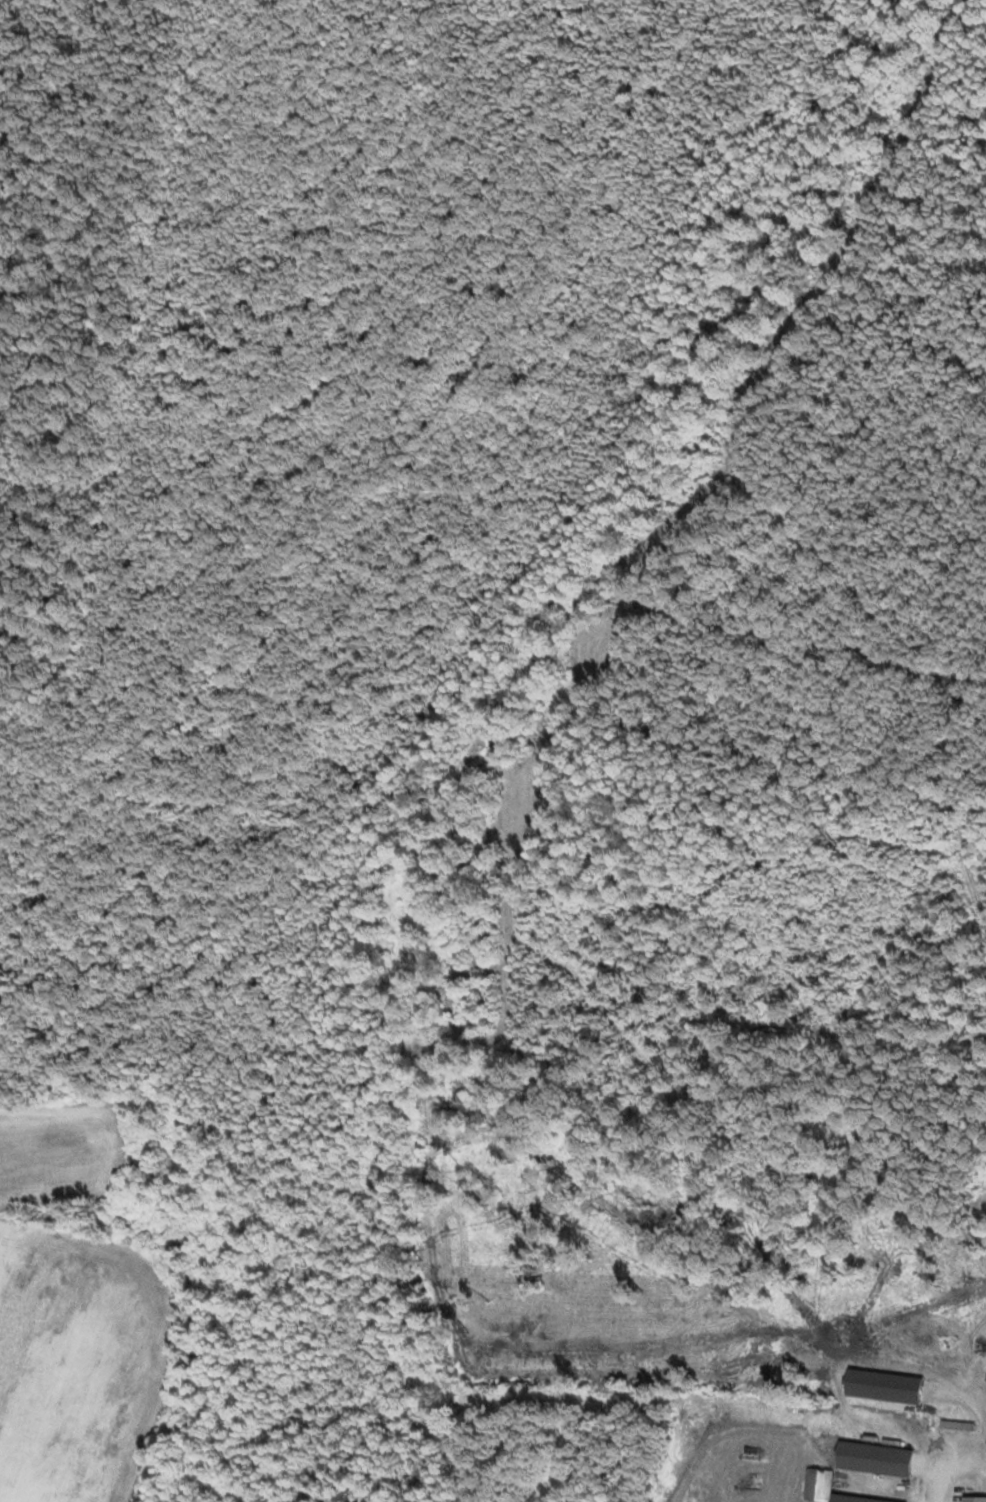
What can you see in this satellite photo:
building: (880, 1386)
building: (871, 1460)
building: (821, 1488)
building: (972, 1500)

